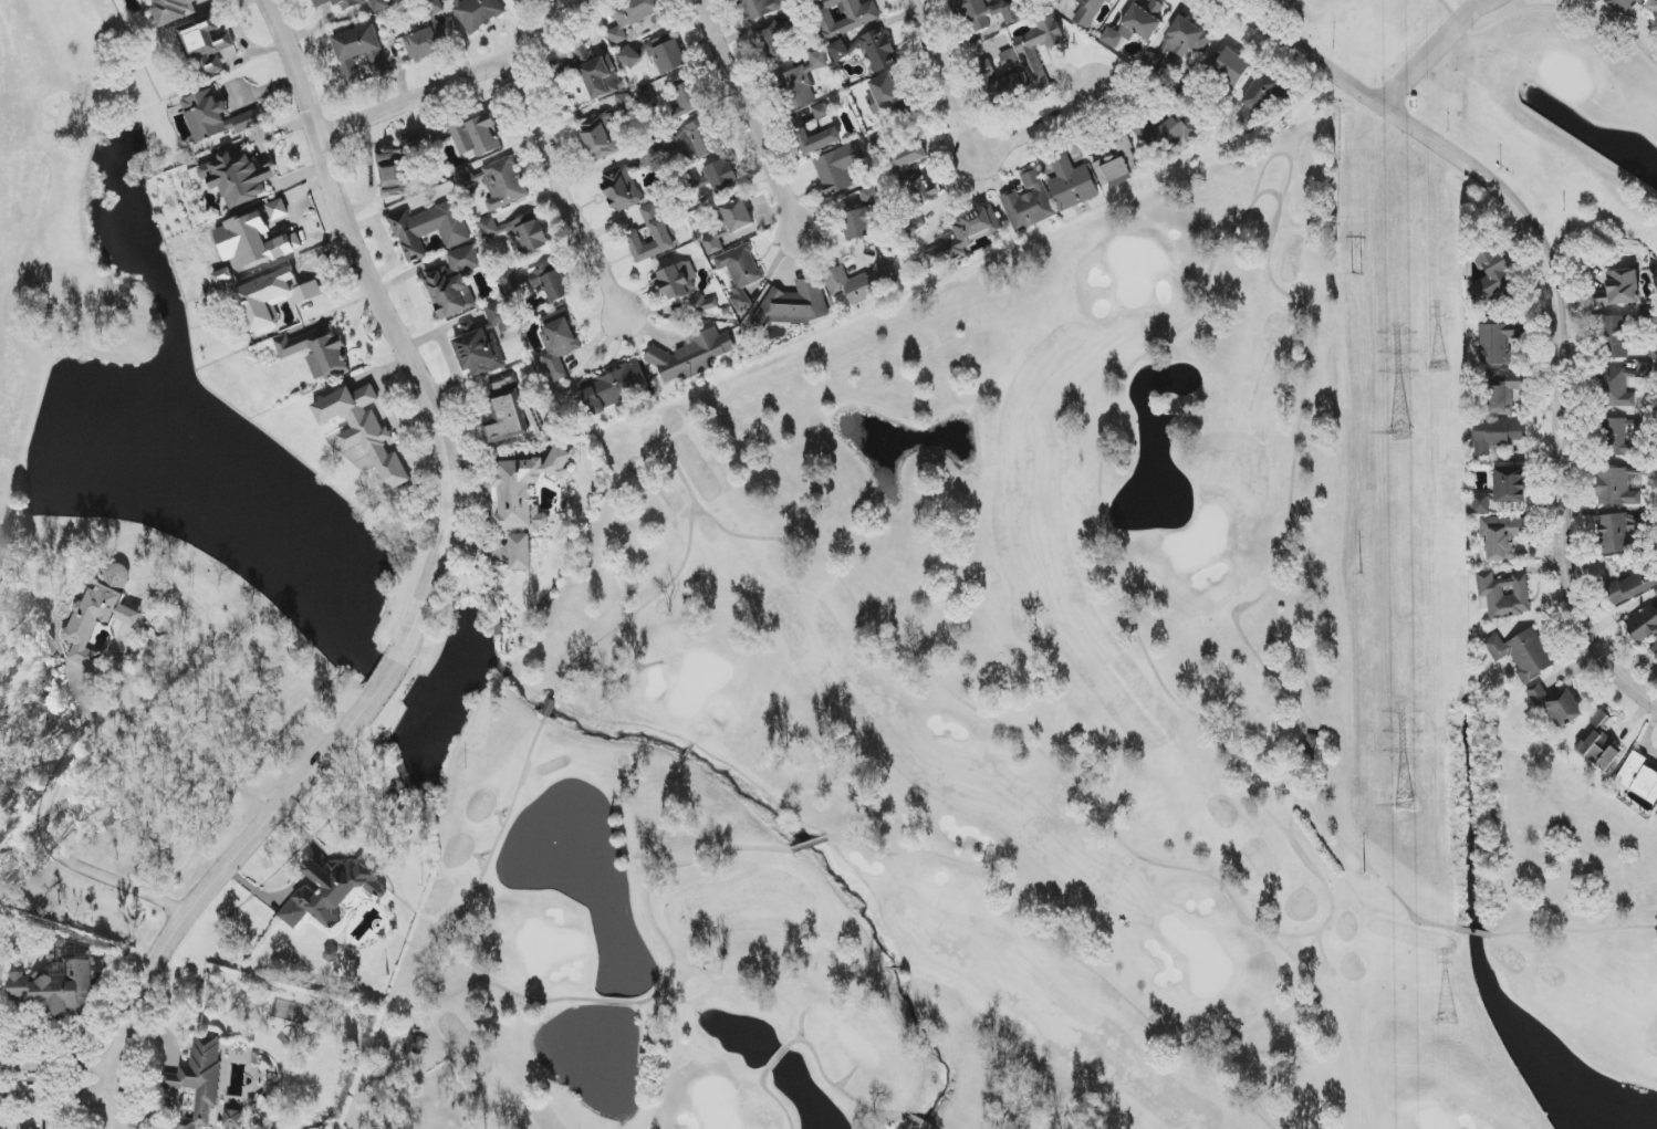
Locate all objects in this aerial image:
building: (514, 0)
building: (1598, 1)
building: (354, 3)
building: (1623, 6)
building: (1650, 6)
building: (760, 8)
building: (175, 10)
building: (1088, 11)
building: (477, 13)
building: (988, 13)
building: (845, 15)
building: (632, 17)
building: (1137, 24)
road: (244, 39)
building: (1180, 42)
building: (206, 43)
building: (425, 43)
building: (771, 44)
building: (840, 51)
building: (876, 51)
road: (1435, 52)
building: (359, 53)
building: (666, 54)
building: (631, 58)
building: (1000, 64)
building: (1033, 66)
building: (1231, 67)
building: (588, 71)
building: (802, 82)
road: (457, 84)
building: (1005, 90)
building: (884, 94)
building: (647, 98)
building: (687, 100)
building: (1258, 100)
park: (1529, 103)
building: (624, 104)
road: (744, 115)
building: (823, 116)
building: (215, 117)
building: (1170, 132)
building: (475, 135)
building: (602, 137)
building: (816, 140)
building: (698, 142)
road: (973, 144)
road: (1279, 155)
building: (908, 156)
building: (1118, 164)
building: (837, 168)
road: (372, 175)
building: (721, 176)
building: (238, 179)
building: (503, 184)
building: (1072, 184)
building: (920, 187)
building: (623, 189)
road: (560, 190)
building: (1029, 202)
building: (738, 216)
building: (857, 224)
building: (429, 229)
building: (660, 232)
building: (519, 233)
building: (965, 236)
building: (715, 242)
building: (740, 273)
park: (67, 274)
power tower: (1358, 274)
building: (1493, 276)
building: (677, 281)
building: (452, 282)
building: (864, 282)
building: (538, 283)
building: (1619, 289)
road: (1555, 291)
building: (273, 296)
building: (702, 304)
building: (794, 305)
building: (498, 316)
road: (396, 328)
building: (1615, 337)
building: (559, 342)
building: (1499, 342)
building: (317, 353)
building: (479, 354)
building: (691, 356)
building: (1645, 370)
power tower: (1437, 374)
building: (504, 381)
building: (614, 388)
building: (1618, 388)
building: (1502, 393)
building: (507, 418)
building: (365, 430)
power tower: (1399, 435)
building: (1623, 435)
building: (1498, 436)
building: (1618, 485)
building: (527, 490)
building: (1501, 491)
building: (1622, 532)
building: (1502, 536)
building: (521, 552)
road: (685, 561)
power tower: (1361, 574)
building: (1626, 583)
building: (1656, 592)
building: (1503, 595)
road: (1123, 604)
building: (98, 614)
building: (1643, 624)
building: (1522, 654)
building: (1654, 654)
road: (387, 678)
road: (617, 682)
building: (1556, 705)
road: (121, 710)
building: (1601, 743)
park: (997, 746)
building: (1639, 777)
power tower: (1404, 805)
road: (1368, 867)
power tower: (1365, 874)
road: (213, 879)
building: (331, 892)
road: (1573, 931)
road: (1063, 949)
building: (54, 991)
road: (448, 1000)
road: (561, 1000)
power tower: (1440, 1022)
road: (435, 1039)
building: (415, 1045)
road: (56, 1066)
building: (200, 1079)
road: (396, 1079)
road: (837, 1088)
road: (774, 1098)
road: (56, 1101)
road: (110, 1115)
road: (115, 1115)
building: (233, 1119)
road: (919, 1122)

